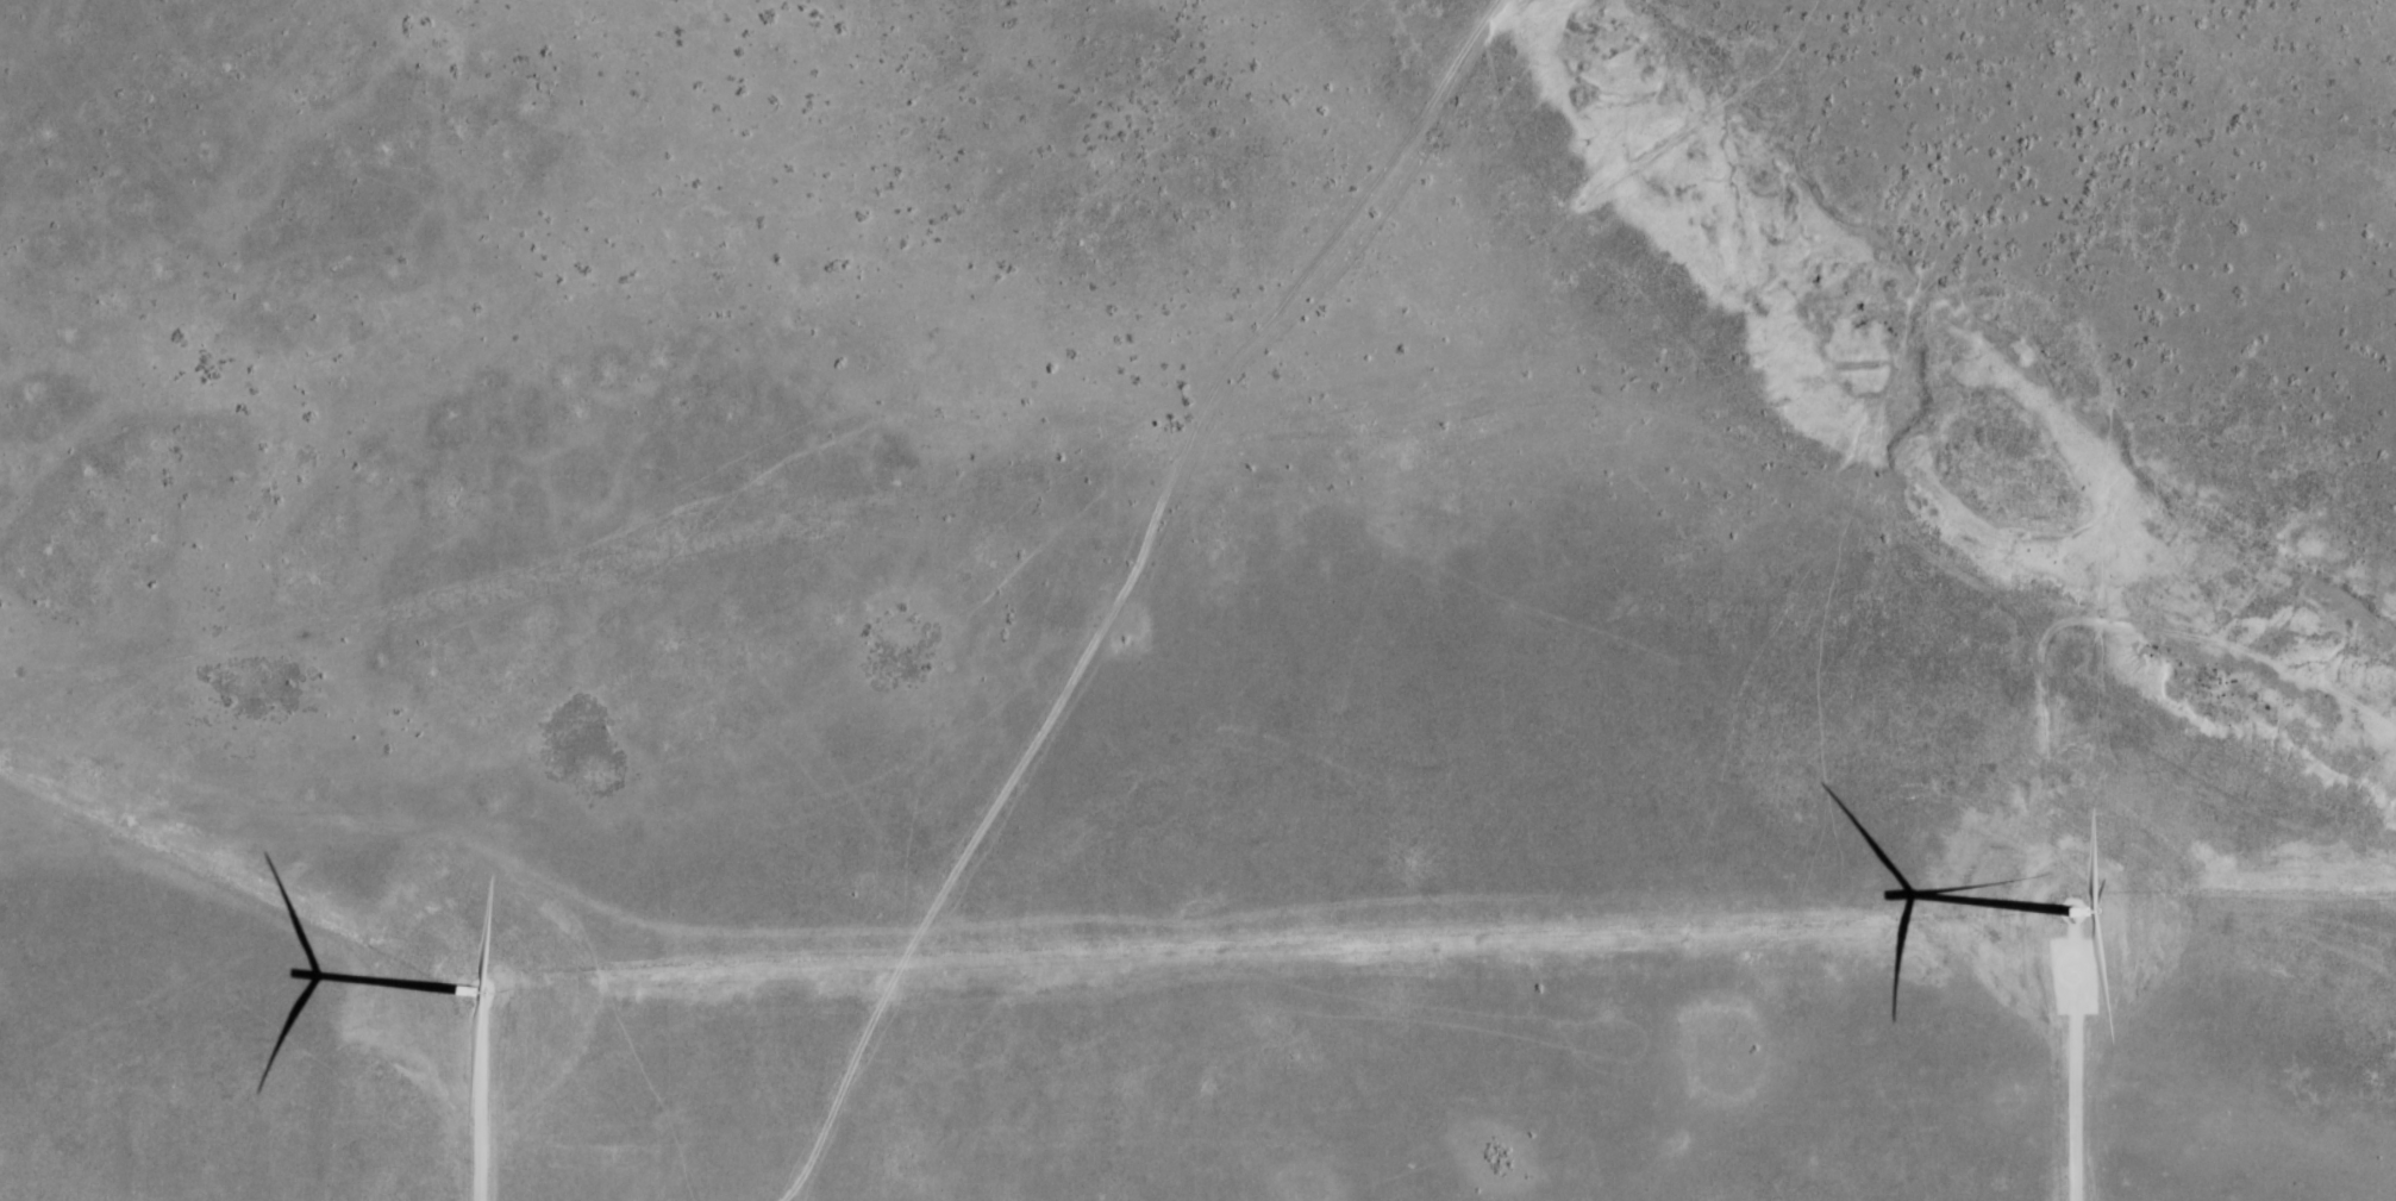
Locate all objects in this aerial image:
road: (1965, 523)
wind turbine: (2062, 907)
wind turbine: (462, 977)

